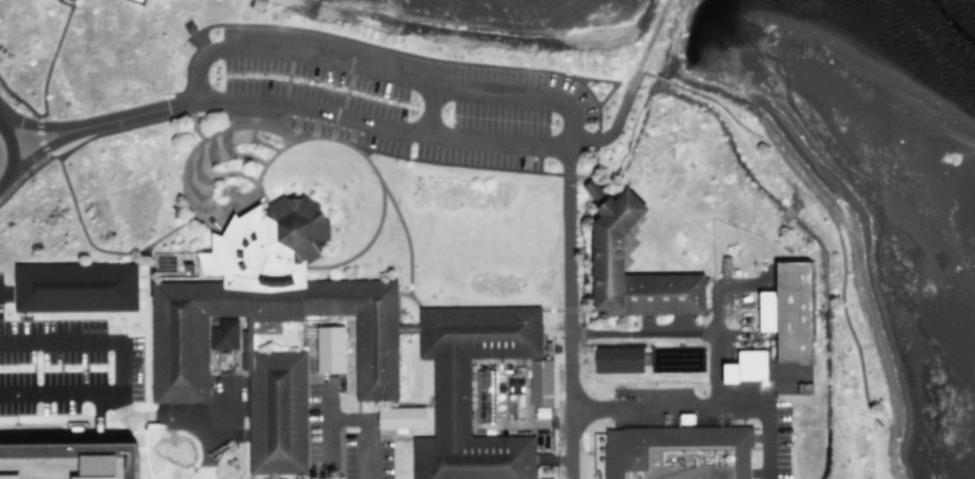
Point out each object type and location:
building: (63, 0)
road: (322, 56)
road: (196, 70)
road: (635, 71)
road: (42, 82)
road: (628, 86)
road: (521, 94)
road: (247, 97)
parking lot: (389, 97)
road: (429, 107)
road: (185, 114)
road: (284, 118)
road: (35, 124)
road: (593, 126)
road: (495, 138)
road: (10, 140)
road: (40, 142)
road: (449, 162)
road: (194, 171)
road: (7, 174)
road: (22, 175)
road: (376, 218)
road: (79, 228)
road: (404, 236)
building: (266, 243)
building: (597, 252)
building: (170, 262)
building: (720, 265)
building: (74, 286)
road: (1, 291)
road: (407, 294)
building: (788, 309)
storage tank: (788, 309)
road: (565, 312)
road: (648, 330)
building: (218, 333)
road: (416, 333)
building: (323, 348)
building: (617, 356)
parking lot: (67, 366)
building: (176, 366)
building: (739, 366)
road: (116, 369)
building: (536, 381)
building: (510, 384)
building: (798, 387)
building: (452, 395)
road: (706, 402)
building: (273, 411)
building: (537, 412)
building: (395, 416)
building: (681, 417)
road: (42, 418)
road: (327, 420)
road: (165, 421)
road: (365, 428)
building: (71, 431)
road: (142, 448)
parking lot: (363, 448)
road: (206, 450)
building: (677, 452)
road: (337, 453)
building: (59, 460)
road: (267, 473)

